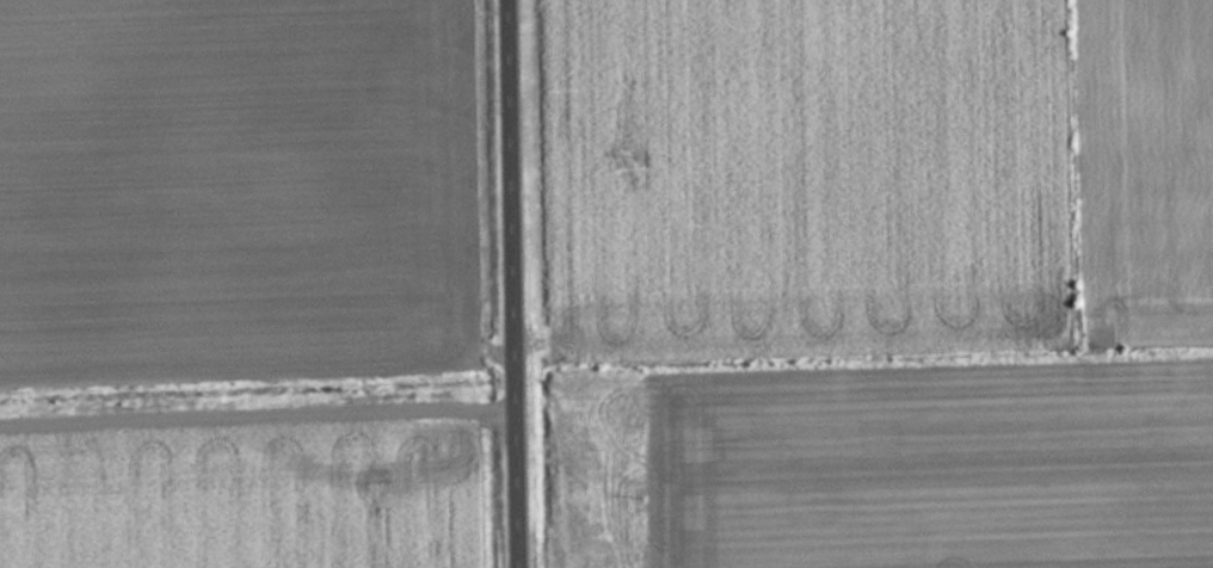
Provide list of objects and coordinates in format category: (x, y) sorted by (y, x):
road: (522, 284)

